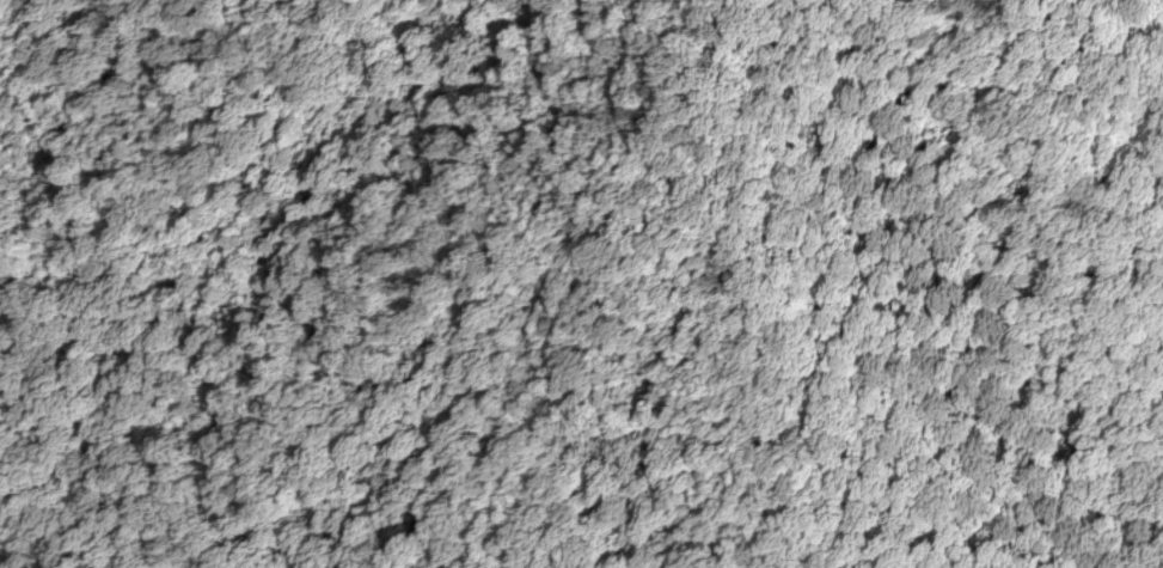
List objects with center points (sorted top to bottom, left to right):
road: (428, 60)
road: (962, 86)
road: (379, 323)

